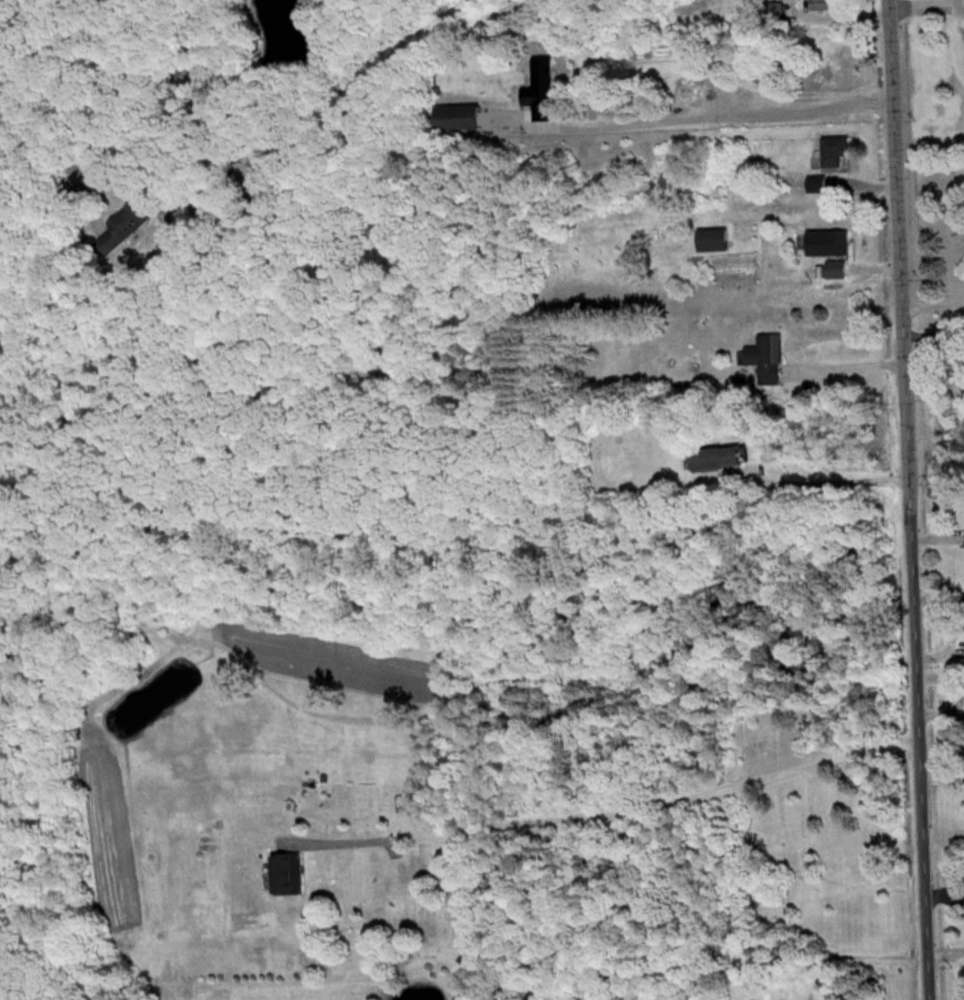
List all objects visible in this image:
building: (820, 4)
building: (775, 14)
building: (542, 88)
road: (718, 109)
building: (456, 117)
building: (834, 153)
building: (135, 230)
building: (711, 241)
building: (829, 252)
road: (929, 298)
building: (764, 359)
building: (718, 460)
road: (824, 480)
road: (901, 499)
road: (607, 806)
building: (285, 876)

